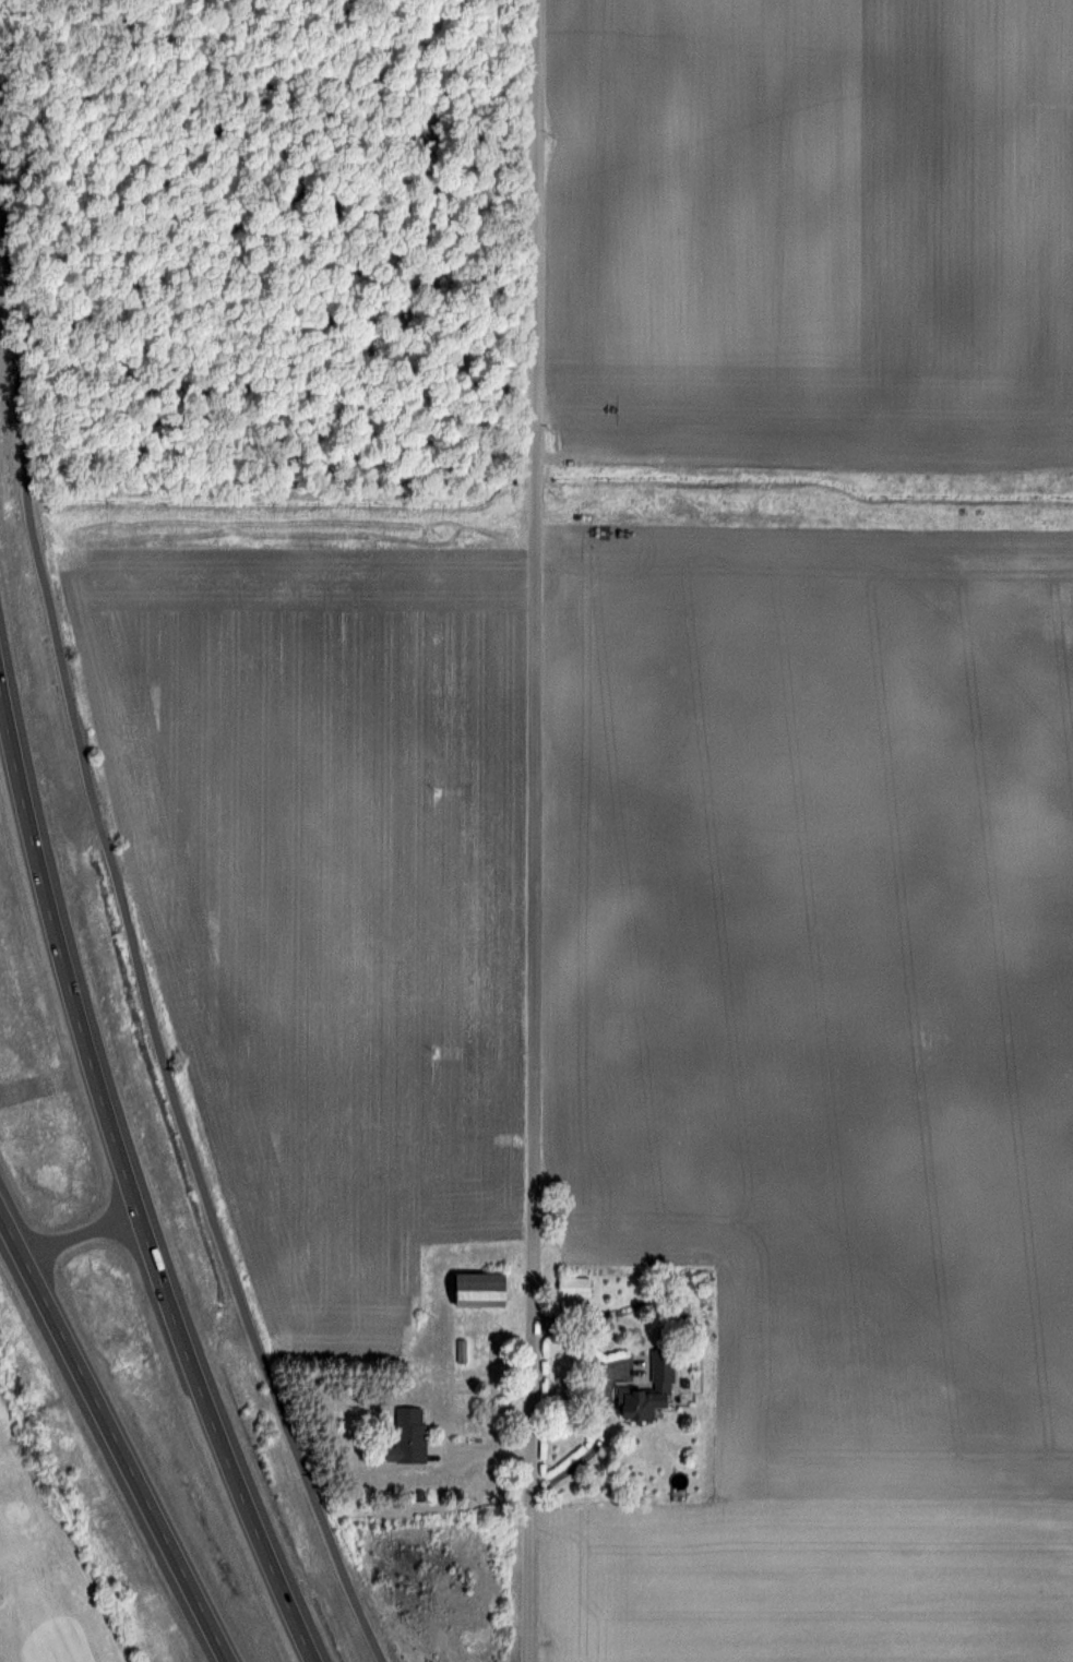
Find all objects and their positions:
road: (533, 830)
road: (130, 952)
road: (48, 1081)
road: (130, 1177)
building: (573, 1286)
building: (475, 1290)
building: (673, 1303)
building: (647, 1389)
road: (605, 1401)
road: (114, 1435)
building: (408, 1435)
park: (51, 1554)

